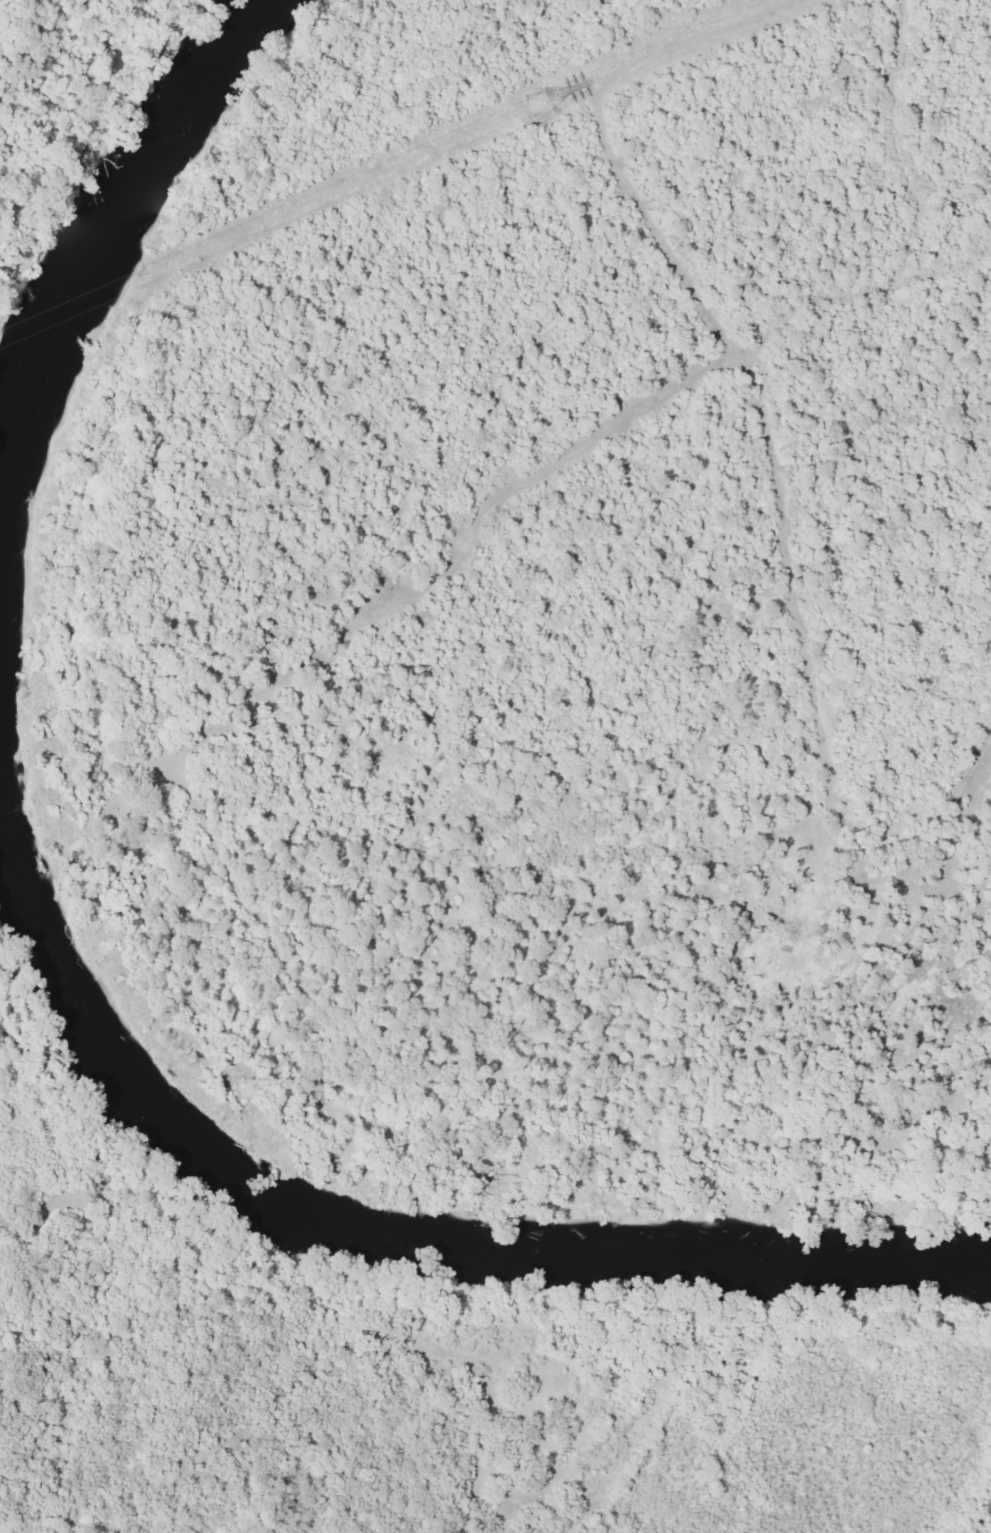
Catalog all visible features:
power tower: (537, 102)
river: (115, 199)
road: (173, 449)
river: (424, 1232)

